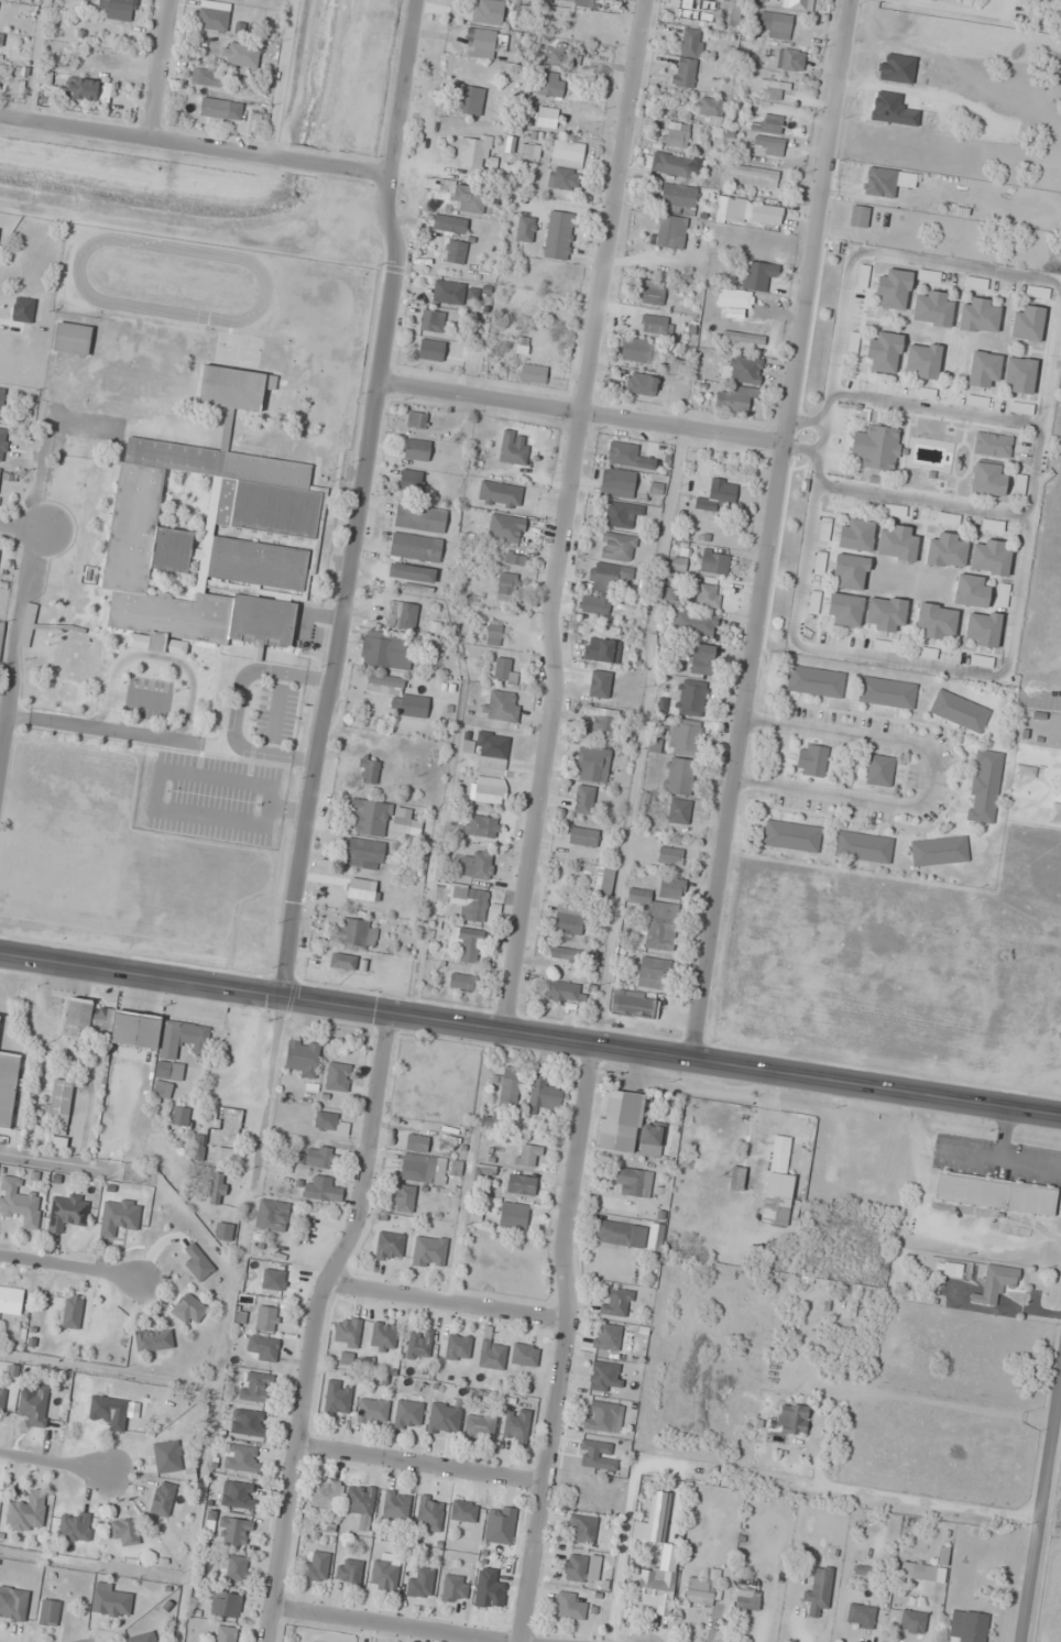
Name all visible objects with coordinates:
building: (575, 2)
building: (798, 4)
building: (118, 9)
building: (488, 12)
building: (212, 20)
building: (777, 26)
building: (1, 40)
building: (481, 42)
building: (554, 54)
building: (242, 55)
building: (688, 58)
building: (791, 61)
road: (164, 67)
building: (206, 77)
building: (549, 86)
building: (774, 87)
building: (81, 89)
road: (405, 89)
building: (468, 98)
building: (711, 108)
building: (220, 109)
building: (544, 120)
building: (767, 124)
building: (677, 135)
road: (196, 142)
building: (769, 145)
building: (473, 150)
building: (566, 165)
building: (675, 166)
building: (754, 175)
building: (880, 182)
building: (467, 197)
building: (678, 199)
building: (748, 211)
building: (858, 217)
building: (441, 223)
building: (525, 226)
building: (671, 232)
building: (560, 236)
building: (456, 252)
building: (758, 275)
building: (926, 277)
building: (549, 278)
building: (894, 289)
building: (448, 292)
building: (652, 293)
building: (1037, 293)
building: (736, 302)
building: (932, 309)
building: (978, 316)
building: (431, 320)
building: (1027, 324)
building: (656, 325)
building: (743, 338)
building: (72, 339)
building: (431, 350)
building: (641, 351)
building: (885, 352)
building: (922, 360)
building: (677, 366)
building: (983, 369)
building: (745, 370)
building: (533, 373)
building: (1019, 375)
building: (118, 382)
building: (641, 384)
building: (165, 388)
building: (736, 399)
building: (1, 401)
building: (1021, 408)
road: (581, 412)
building: (122, 418)
building: (417, 419)
building: (181, 428)
building: (3, 444)
building: (993, 445)
building: (513, 447)
building: (877, 447)
building: (416, 449)
building: (624, 453)
building: (988, 479)
building: (412, 480)
building: (617, 483)
building: (500, 494)
building: (718, 495)
building: (263, 508)
road: (570, 514)
building: (622, 514)
building: (419, 518)
building: (949, 518)
road: (23, 528)
building: (506, 528)
road: (772, 528)
building: (856, 535)
building: (897, 543)
building: (415, 547)
building: (617, 547)
building: (947, 551)
building: (513, 558)
building: (989, 558)
building: (714, 562)
building: (678, 563)
building: (412, 572)
building: (850, 572)
building: (610, 574)
road: (346, 585)
building: (507, 585)
building: (971, 591)
building: (708, 595)
building: (594, 604)
building: (845, 609)
building: (885, 613)
building: (402, 615)
building: (29, 616)
road: (14, 620)
building: (937, 621)
building: (698, 623)
building: (982, 630)
building: (1, 633)
building: (494, 633)
building: (600, 649)
building: (385, 650)
building: (925, 652)
road: (153, 658)
building: (701, 659)
road: (249, 669)
building: (504, 671)
building: (816, 681)
building: (887, 692)
building: (398, 696)
road: (147, 698)
building: (691, 698)
building: (501, 705)
building: (960, 711)
road: (276, 712)
building: (605, 720)
road: (141, 733)
building: (686, 736)
building: (492, 751)
building: (811, 759)
building: (593, 765)
road: (160, 770)
building: (879, 770)
building: (369, 771)
building: (680, 776)
building: (985, 786)
building: (489, 790)
building: (583, 799)
building: (679, 811)
building: (369, 817)
building: (405, 821)
building: (484, 827)
building: (791, 835)
building: (583, 836)
building: (863, 846)
building: (939, 851)
building: (363, 854)
building: (670, 855)
building: (475, 864)
building: (604, 882)
building: (671, 888)
building: (464, 900)
building: (657, 920)
building: (354, 932)
building: (469, 944)
building: (567, 954)
building: (347, 962)
building: (654, 972)
building: (462, 982)
building: (565, 992)
building: (634, 1004)
building: (112, 1025)
road: (529, 1033)
building: (302, 1058)
building: (167, 1060)
building: (338, 1076)
building: (8, 1086)
road: (269, 1092)
building: (544, 1094)
building: (59, 1107)
building: (181, 1116)
building: (228, 1120)
building: (326, 1120)
building: (627, 1127)
building: (197, 1147)
building: (529, 1154)
building: (853, 1156)
building: (316, 1157)
building: (418, 1160)
building: (484, 1172)
building: (736, 1178)
building: (634, 1182)
building: (521, 1184)
building: (778, 1184)
building: (218, 1189)
building: (319, 1189)
building: (995, 1193)
building: (405, 1198)
building: (19, 1202)
building: (67, 1212)
building: (514, 1215)
building: (269, 1216)
building: (225, 1231)
building: (625, 1234)
building: (390, 1246)
building: (429, 1251)
road: (72, 1268)
building: (996, 1284)
building: (11, 1301)
building: (616, 1302)
road: (447, 1303)
building: (188, 1310)
building: (73, 1312)
building: (267, 1318)
road: (318, 1325)
building: (348, 1332)
building: (384, 1336)
building: (608, 1336)
building: (153, 1338)
road: (566, 1343)
building: (418, 1345)
building: (458, 1347)
building: (262, 1348)
building: (492, 1355)
building: (525, 1355)
building: (606, 1376)
building: (255, 1387)
building: (2, 1398)
building: (338, 1399)
building: (35, 1406)
building: (109, 1411)
building: (372, 1411)
building: (408, 1415)
building: (604, 1416)
building: (444, 1419)
building: (792, 1419)
building: (248, 1423)
building: (480, 1426)
building: (516, 1426)
building: (167, 1456)
building: (242, 1458)
road: (422, 1462)
road: (55, 1470)
building: (238, 1495)
building: (327, 1495)
building: (162, 1499)
building: (360, 1500)
road: (931, 1500)
building: (396, 1504)
building: (463, 1511)
building: (26, 1512)
building: (429, 1513)
road: (1041, 1514)
building: (657, 1517)
building: (500, 1524)
building: (582, 1529)
building: (234, 1531)
building: (125, 1532)
building: (316, 1566)
building: (233, 1567)
building: (582, 1568)
building: (348, 1572)
building: (919, 1572)
building: (384, 1575)
building: (420, 1583)
building: (455, 1589)
building: (489, 1589)
building: (656, 1589)
building: (702, 1589)
building: (818, 1589)
building: (747, 1600)
building: (111, 1603)
building: (13, 1605)
building: (226, 1605)
building: (569, 1607)
building: (48, 1613)
building: (861, 1617)
building: (912, 1622)
road: (378, 1625)
building: (967, 1627)
building: (226, 1634)
building: (141, 1638)

